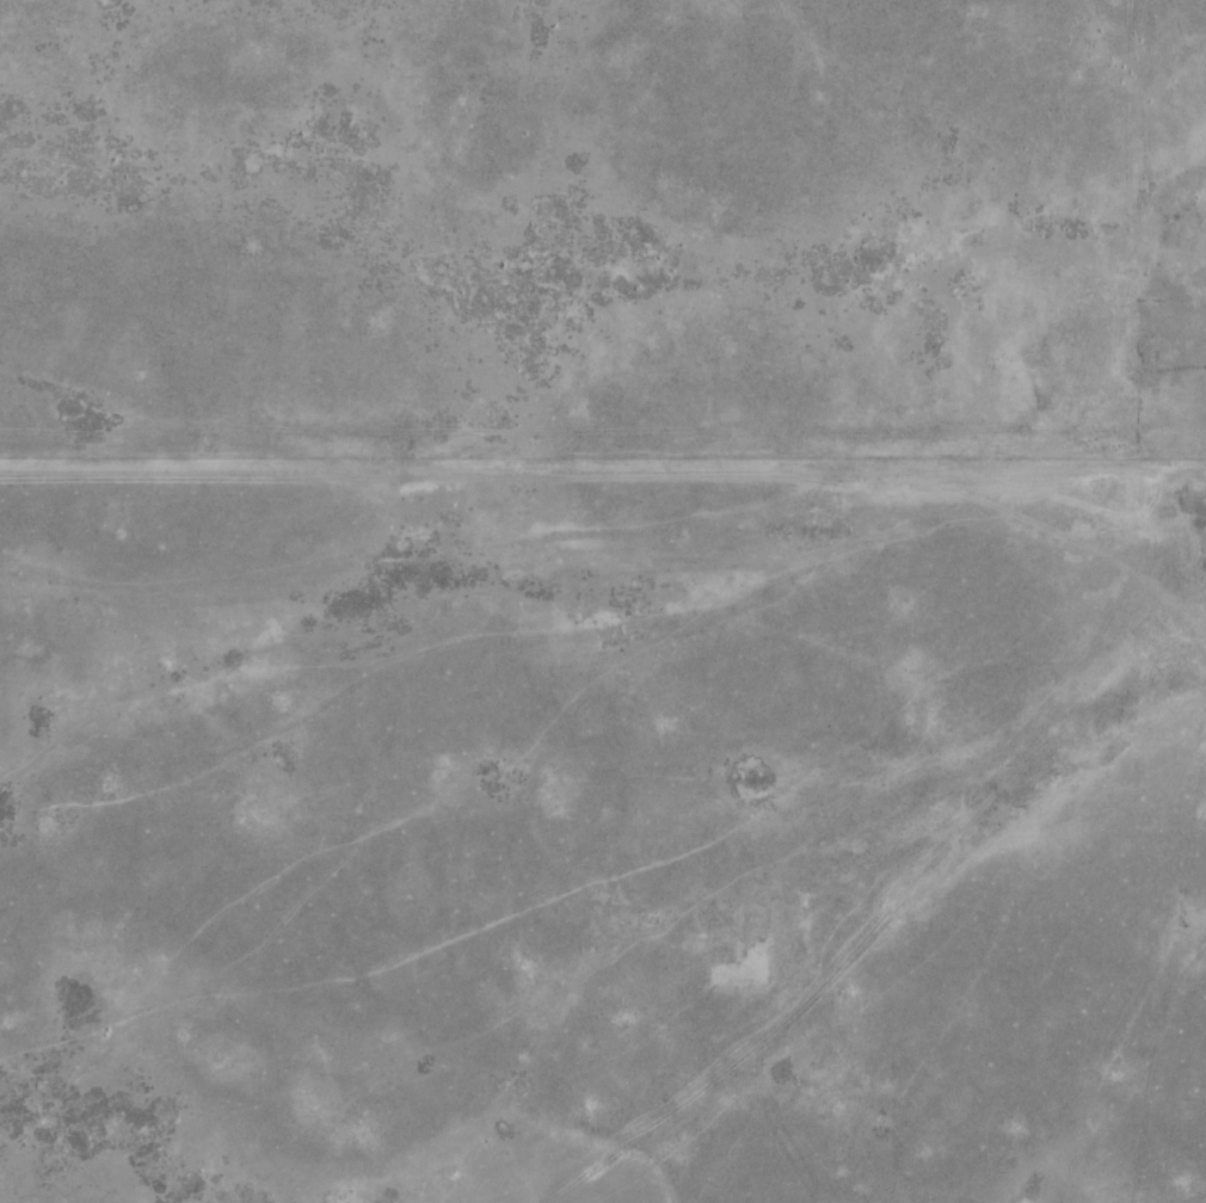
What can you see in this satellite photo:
road: (870, 1002)

